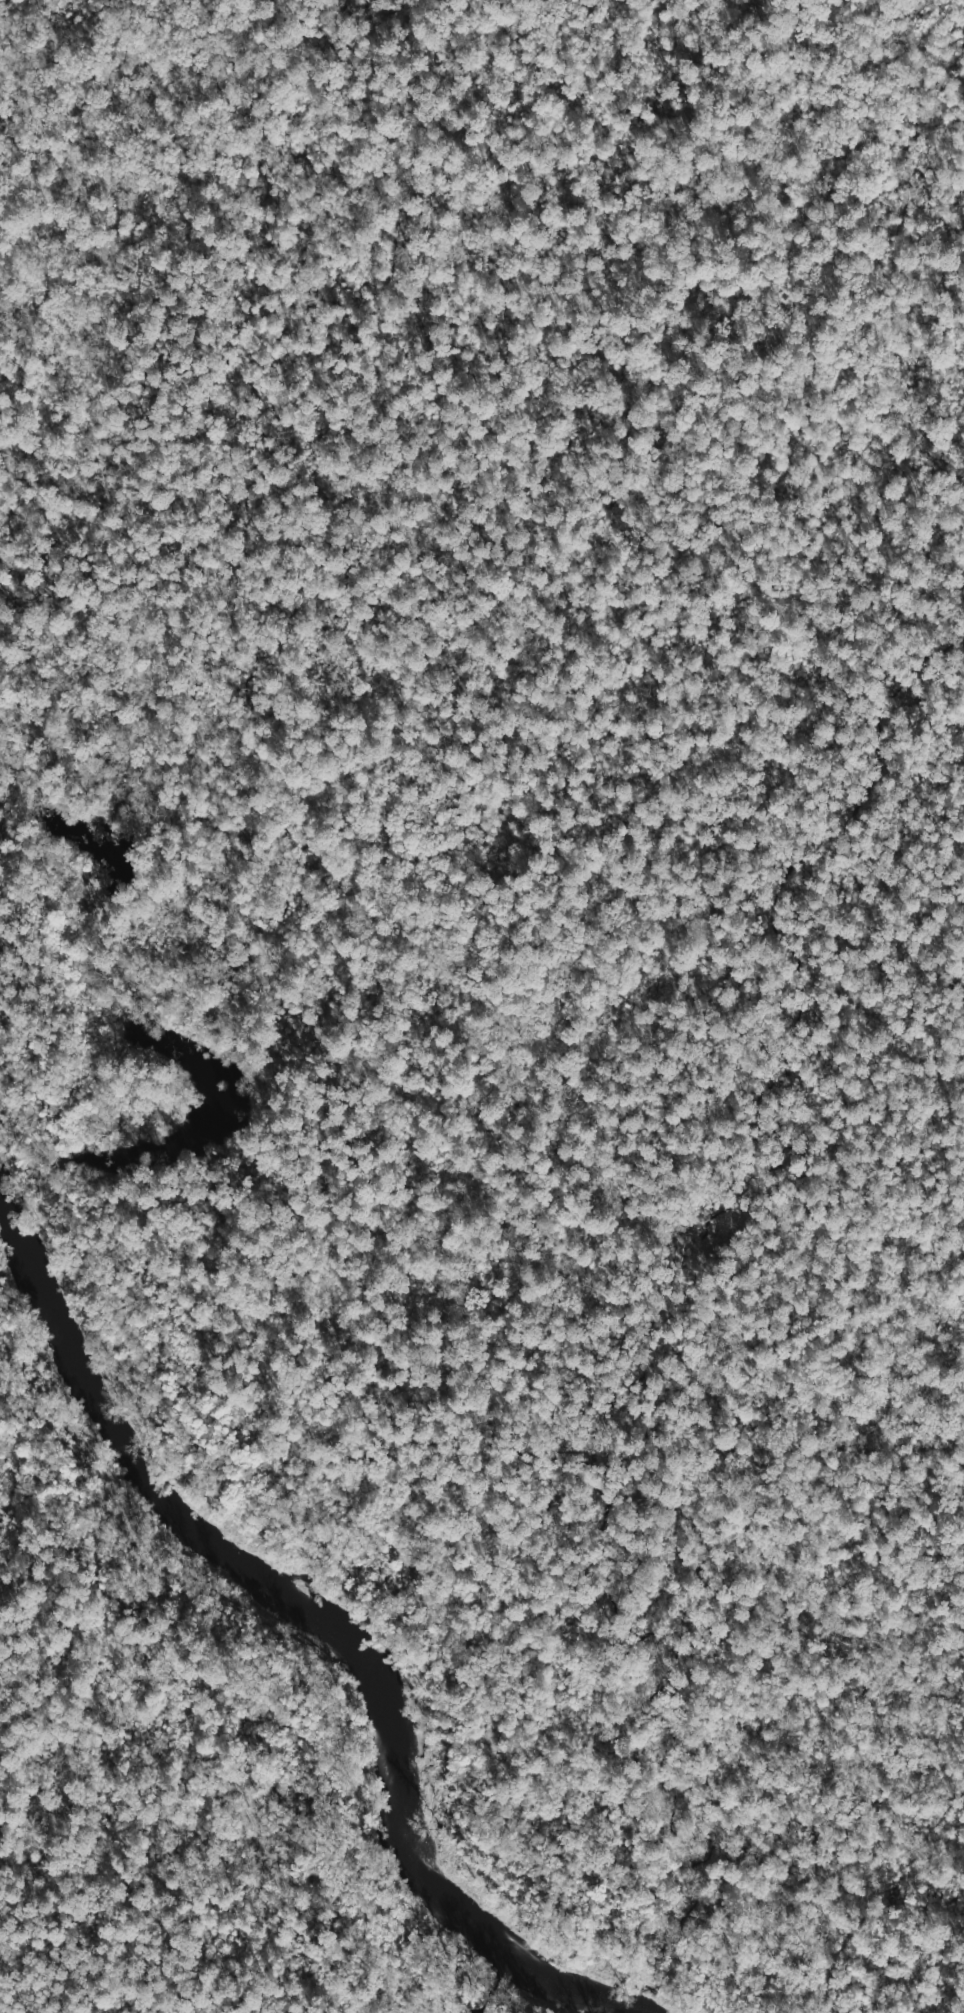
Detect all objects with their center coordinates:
river: (342, 1621)

